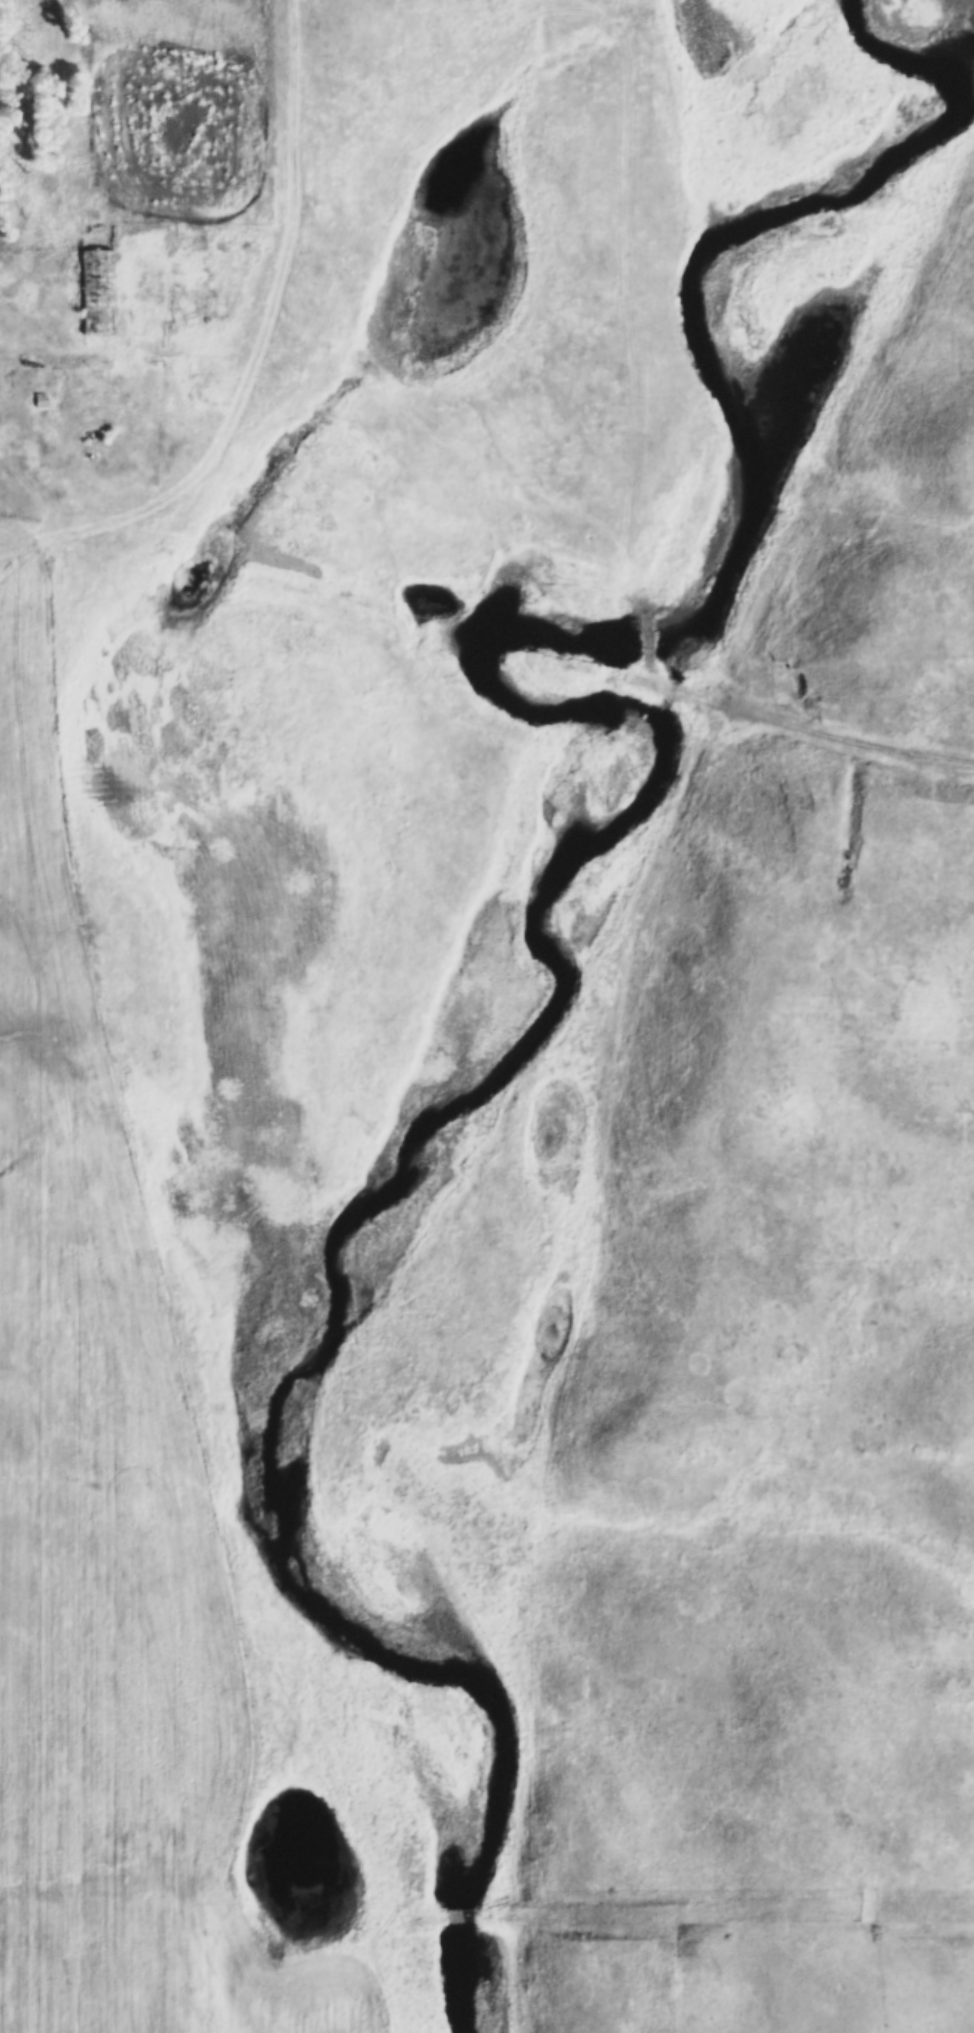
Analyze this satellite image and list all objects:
building: (98, 290)
building: (40, 400)
road: (844, 733)
river: (578, 841)

